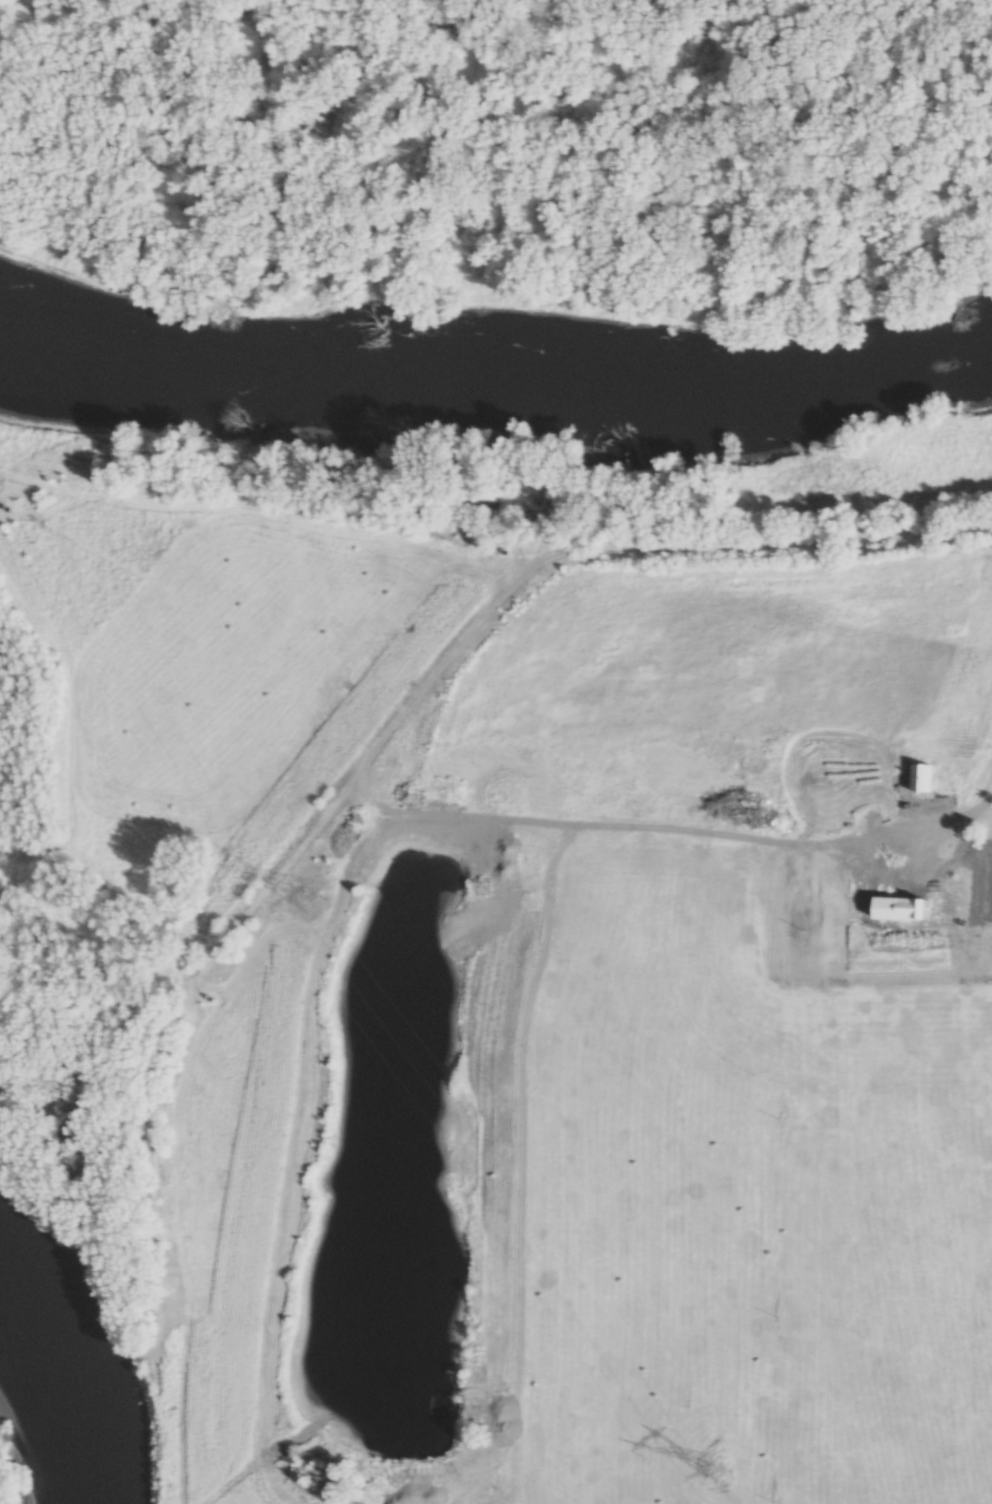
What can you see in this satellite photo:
river: (494, 383)
building: (820, 743)
building: (872, 755)
building: (384, 758)
building: (918, 776)
building: (959, 778)
road: (985, 802)
power tower: (307, 887)
river: (71, 1374)
power tower: (721, 1467)

